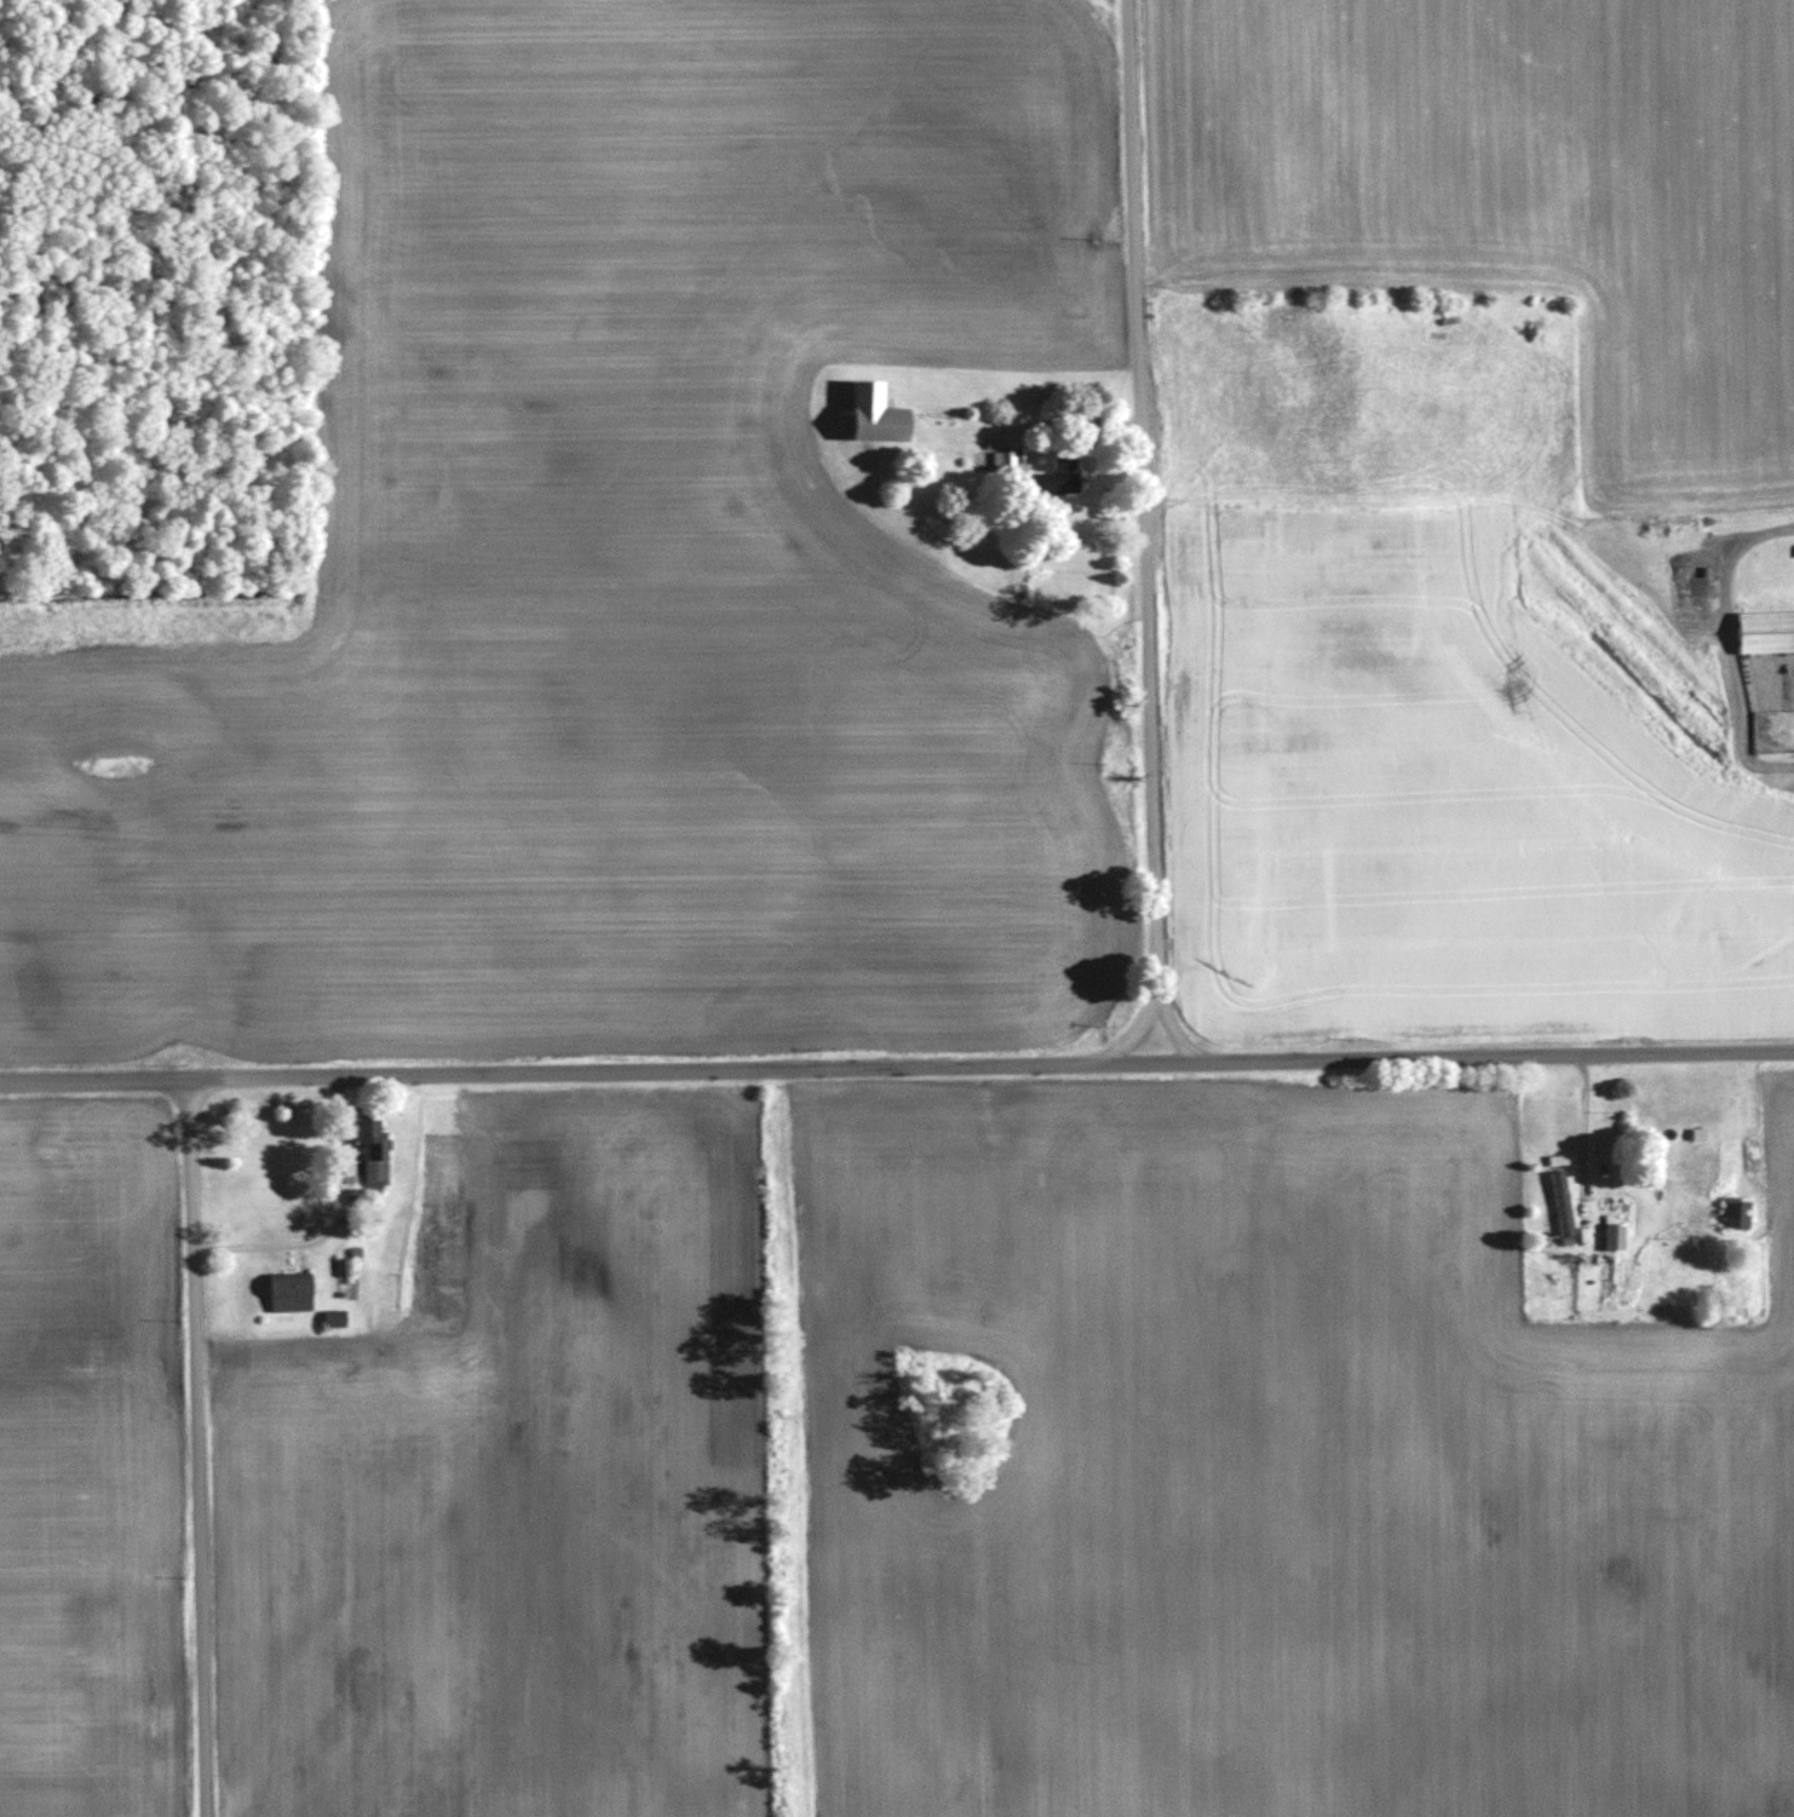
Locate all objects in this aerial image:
building: (869, 414)
building: (1000, 459)
road: (1142, 531)
building: (1764, 628)
road: (896, 1068)
building: (370, 1148)
building: (1733, 1209)
building: (1610, 1234)
building: (339, 1264)
building: (286, 1292)
building: (330, 1315)
road: (196, 1448)

